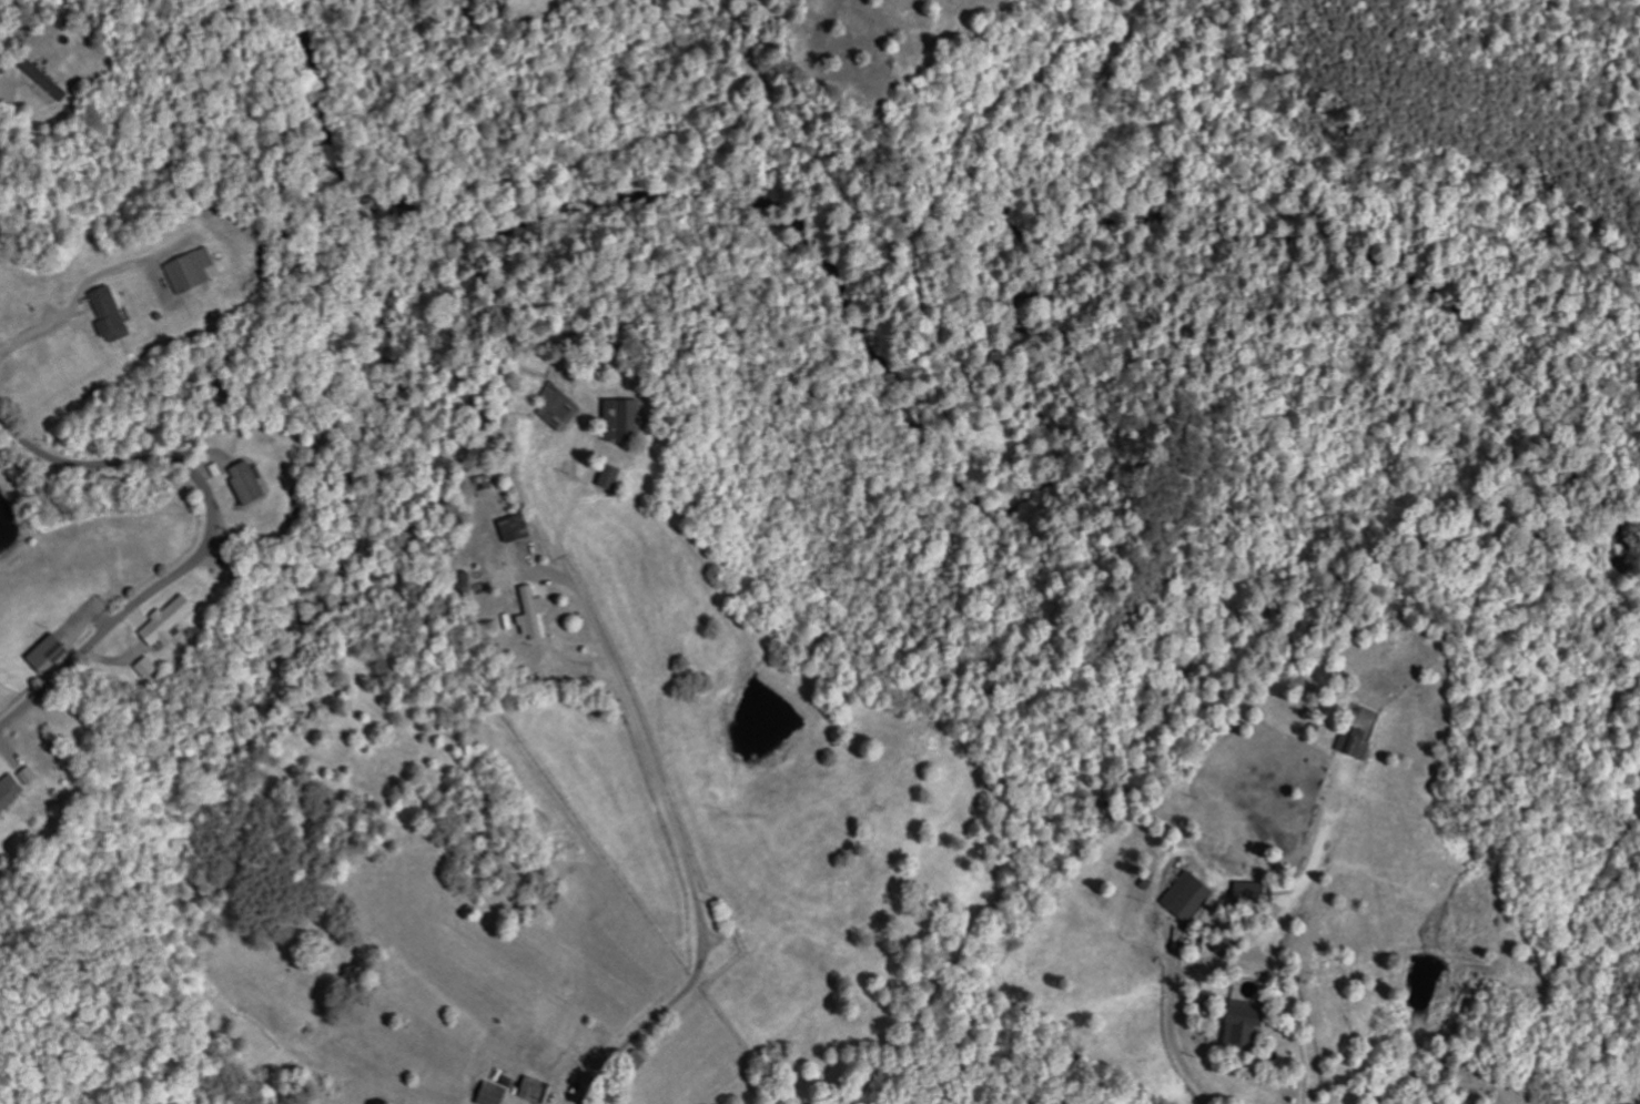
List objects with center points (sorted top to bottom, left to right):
building: (51, 87)
building: (199, 271)
building: (115, 315)
building: (560, 406)
building: (630, 419)
building: (617, 476)
building: (520, 528)
road: (213, 538)
building: (535, 614)
building: (174, 621)
building: (54, 654)
building: (151, 668)
building: (1359, 746)
building: (13, 794)
road: (675, 845)
building: (1192, 895)
building: (1254, 1023)
building: (539, 1090)
building: (500, 1093)

